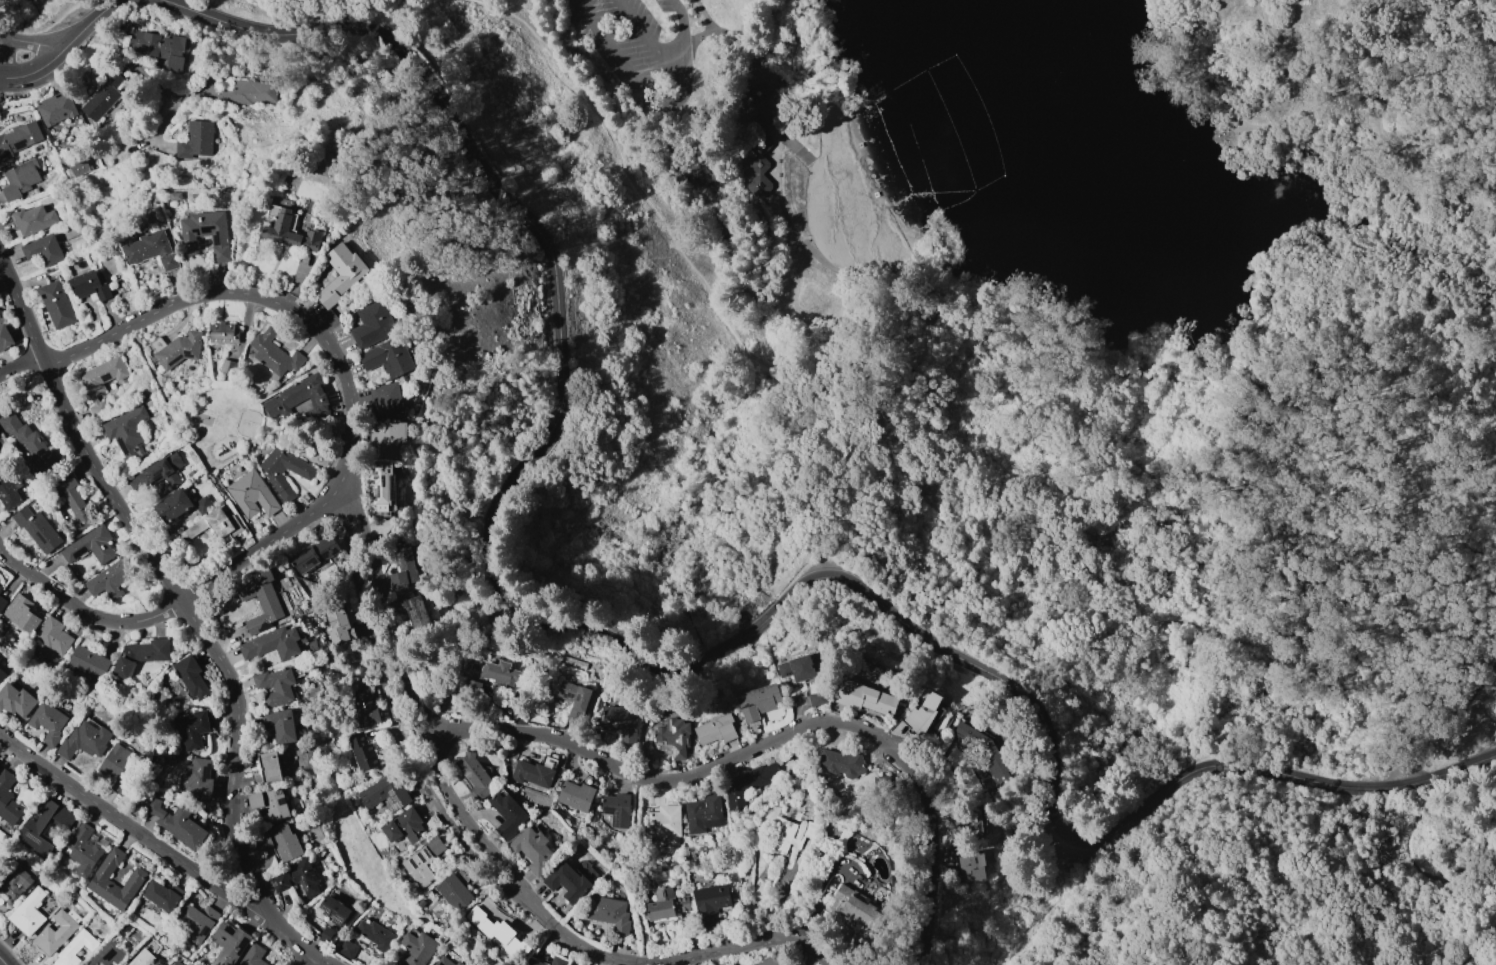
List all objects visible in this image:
road: (529, 2)
road: (502, 3)
road: (705, 16)
road: (98, 22)
road: (72, 26)
road: (639, 28)
road: (32, 42)
parking lot: (640, 47)
building: (161, 48)
road: (674, 49)
road: (5, 56)
road: (134, 64)
road: (752, 68)
road: (35, 73)
road: (607, 89)
building: (249, 92)
building: (102, 96)
road: (1379, 102)
road: (651, 106)
road: (1315, 107)
building: (56, 108)
building: (760, 109)
road: (779, 133)
building: (19, 138)
building: (196, 139)
road: (1303, 151)
building: (760, 163)
building: (80, 168)
building: (699, 175)
road: (629, 176)
building: (19, 179)
road: (1370, 217)
building: (32, 219)
road: (1460, 220)
road: (763, 224)
road: (788, 224)
building: (206, 233)
building: (291, 233)
building: (43, 249)
building: (151, 250)
road: (1412, 250)
building: (341, 273)
building: (89, 285)
building: (56, 304)
building: (0, 315)
building: (373, 324)
road: (1312, 325)
building: (223, 333)
building: (5, 337)
road: (1089, 339)
road: (1260, 347)
building: (177, 349)
building: (275, 354)
road: (334, 356)
building: (388, 357)
road: (20, 363)
building: (228, 366)
road: (296, 377)
building: (101, 382)
building: (300, 398)
building: (387, 399)
park: (201, 418)
road: (225, 419)
park: (221, 423)
road: (183, 424)
building: (127, 432)
building: (386, 438)
building: (31, 442)
road: (1453, 466)
building: (158, 473)
building: (274, 477)
building: (381, 484)
building: (9, 492)
building: (251, 494)
building: (73, 498)
building: (173, 505)
building: (203, 505)
road: (236, 510)
building: (217, 525)
building: (37, 529)
building: (90, 545)
building: (314, 554)
building: (403, 566)
building: (111, 578)
building: (0, 587)
building: (0, 591)
building: (2, 602)
building: (263, 605)
road: (1405, 606)
road: (1447, 606)
road: (83, 609)
building: (413, 610)
building: (23, 612)
road: (188, 612)
building: (339, 621)
road: (1148, 626)
road: (588, 629)
building: (54, 635)
building: (274, 643)
building: (142, 655)
building: (575, 662)
building: (88, 663)
building: (797, 668)
building: (2, 676)
building: (191, 676)
building: (492, 678)
building: (276, 686)
building: (865, 697)
building: (573, 699)
building: (818, 699)
building: (17, 700)
building: (757, 701)
road: (414, 703)
building: (362, 707)
building: (923, 714)
road: (399, 716)
building: (52, 722)
building: (621, 722)
building: (280, 725)
building: (193, 729)
building: (716, 729)
building: (674, 736)
road: (1444, 736)
building: (88, 740)
road: (772, 741)
building: (362, 751)
building: (984, 751)
building: (841, 763)
building: (0, 767)
building: (122, 768)
building: (268, 768)
building: (0, 769)
building: (535, 771)
building: (475, 773)
building: (199, 778)
road: (369, 778)
road: (1419, 781)
building: (747, 783)
building: (881, 784)
building: (385, 792)
building: (576, 795)
building: (9, 798)
building: (270, 802)
building: (616, 809)
building: (703, 812)
building: (507, 815)
building: (976, 821)
building: (177, 822)
building: (665, 823)
building: (47, 825)
building: (403, 825)
road: (134, 828)
building: (794, 834)
building: (262, 841)
building: (285, 841)
road: (352, 845)
building: (533, 849)
building: (85, 850)
building: (423, 859)
road: (1415, 862)
building: (971, 867)
building: (138, 876)
building: (297, 878)
building: (568, 881)
building: (16, 884)
building: (454, 889)
building: (162, 895)
building: (666, 904)
building: (710, 904)
building: (858, 908)
building: (334, 909)
building: (28, 912)
building: (609, 913)
building: (197, 921)
building: (499, 932)
building: (55, 933)
building: (326, 934)
building: (375, 934)
road: (745, 944)
road: (579, 945)
road: (1479, 945)
building: (236, 948)
building: (77, 949)
building: (347, 949)
building: (419, 949)
building: (110, 956)
building: (146, 959)
road: (4, 960)
building: (558, 960)
building: (779, 960)
road: (313, 961)
building: (445, 961)
building: (533, 962)
building: (176, 963)
building: (460, 963)
building: (743, 964)

